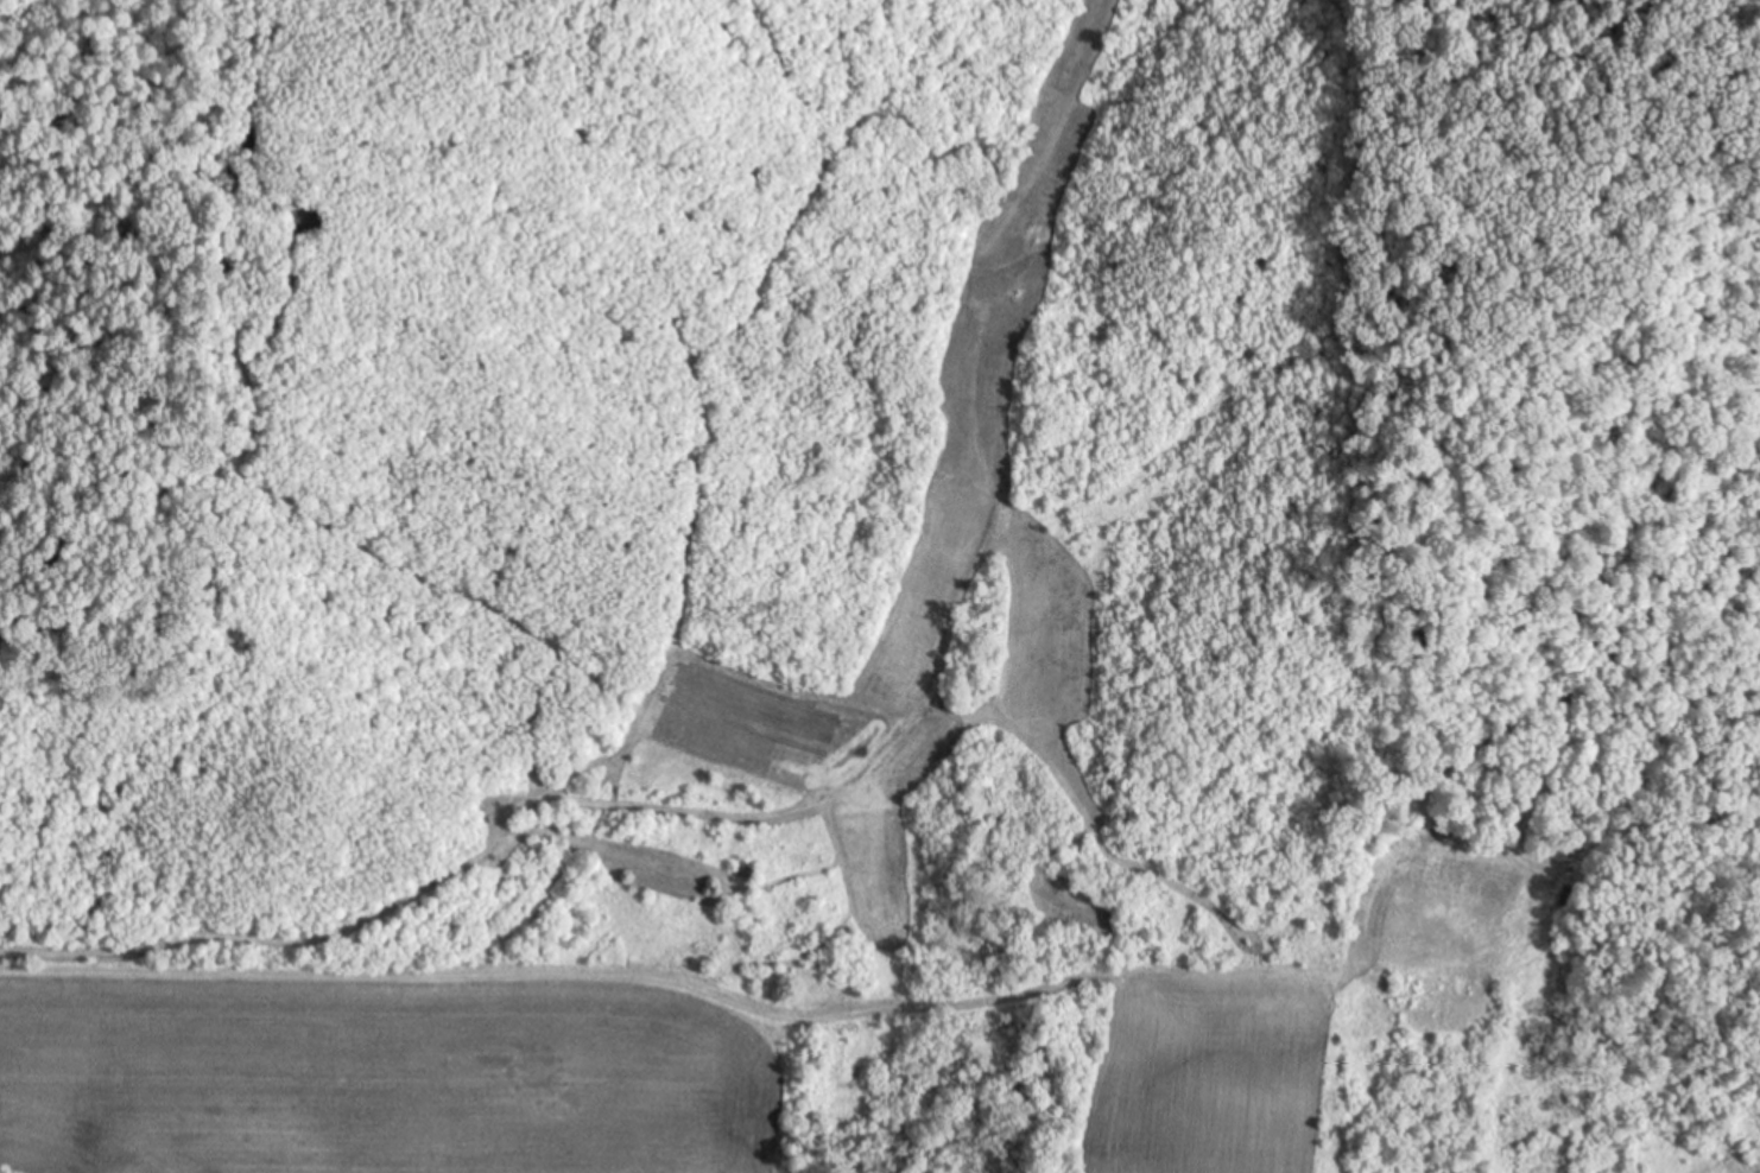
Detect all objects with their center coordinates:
crop: (399, 1073)
crop: (1216, 1078)

